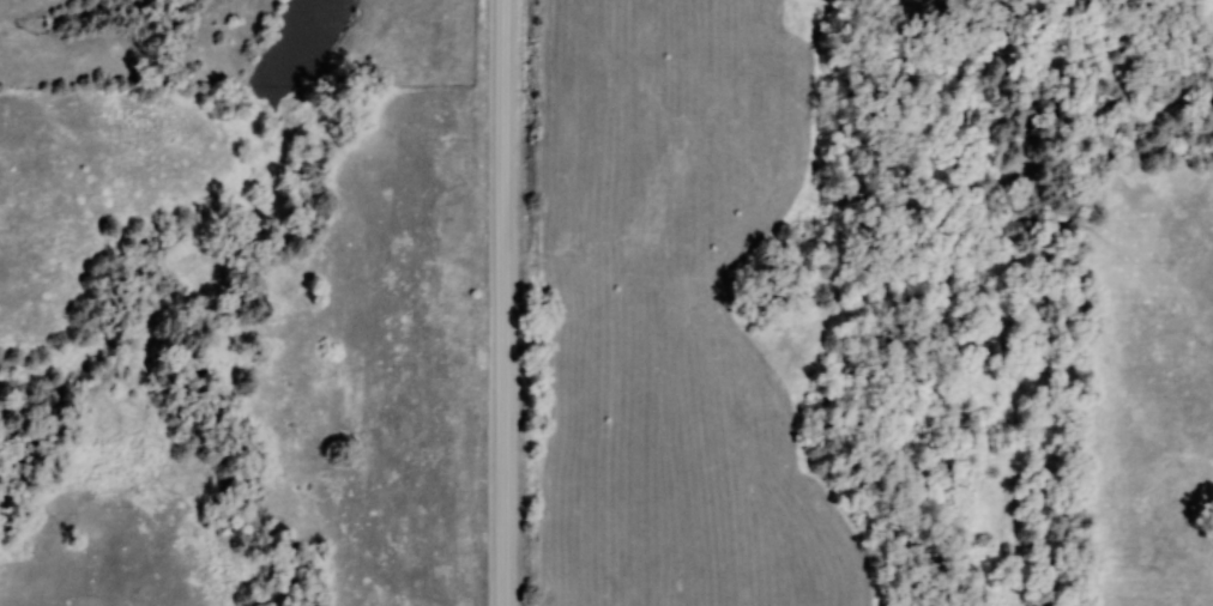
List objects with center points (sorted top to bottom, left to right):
road: (502, 303)

